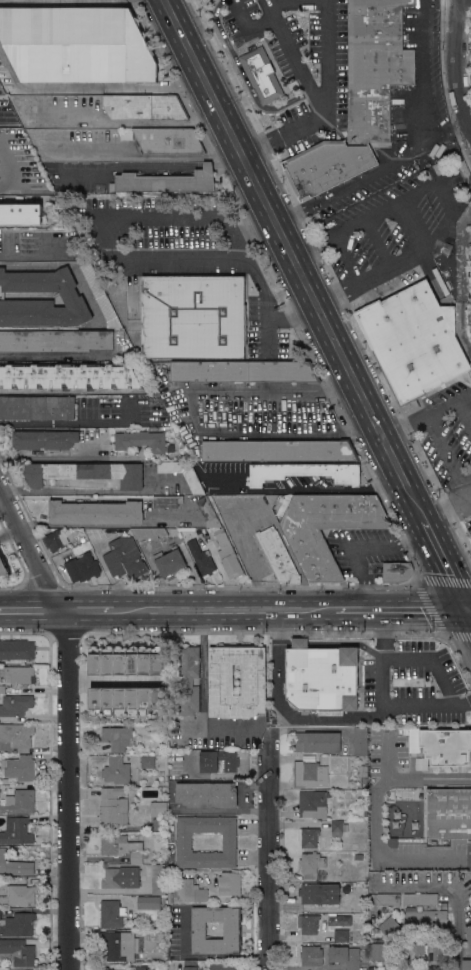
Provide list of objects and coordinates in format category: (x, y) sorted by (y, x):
road: (249, 27)
building: (76, 45)
road: (327, 55)
building: (375, 66)
road: (454, 68)
building: (261, 75)
road: (320, 97)
building: (143, 107)
building: (31, 112)
road: (136, 122)
building: (126, 135)
building: (168, 141)
road: (413, 151)
road: (6, 166)
building: (325, 166)
building: (165, 182)
road: (5, 191)
road: (6, 198)
building: (20, 214)
road: (251, 222)
road: (421, 222)
road: (231, 233)
road: (99, 239)
building: (470, 240)
road: (295, 258)
road: (177, 259)
building: (470, 261)
road: (67, 263)
road: (463, 281)
building: (69, 295)
building: (101, 296)
building: (193, 317)
building: (470, 320)
building: (55, 340)
building: (413, 341)
road: (47, 354)
building: (243, 371)
building: (68, 376)
building: (37, 407)
road: (190, 417)
road: (70, 422)
road: (404, 427)
road: (432, 436)
building: (44, 439)
building: (143, 441)
building: (278, 451)
road: (42, 456)
building: (305, 472)
building: (84, 473)
building: (194, 484)
road: (468, 489)
road: (91, 490)
road: (314, 490)
building: (167, 501)
road: (447, 507)
building: (95, 512)
building: (208, 512)
road: (89, 525)
building: (323, 526)
building: (148, 533)
building: (89, 534)
building: (55, 540)
road: (241, 544)
road: (357, 545)
road: (30, 550)
building: (227, 555)
building: (278, 556)
building: (124, 558)
building: (201, 558)
building: (88, 562)
building: (170, 562)
road: (445, 563)
building: (3, 566)
building: (396, 571)
road: (111, 577)
road: (400, 609)
traffic signals: (467, 609)
road: (469, 609)
road: (223, 610)
road: (31, 612)
road: (88, 612)
road: (469, 612)
building: (17, 649)
building: (121, 660)
building: (134, 660)
building: (145, 660)
building: (158, 660)
road: (430, 660)
building: (96, 661)
building: (109, 661)
building: (19, 674)
building: (321, 677)
road: (202, 678)
building: (221, 679)
building: (189, 681)
building: (2, 689)
building: (96, 701)
building: (109, 701)
building: (121, 701)
building: (134, 701)
building: (145, 701)
building: (158, 701)
road: (382, 701)
building: (15, 705)
road: (287, 711)
building: (162, 728)
building: (17, 735)
building: (117, 738)
building: (360, 741)
building: (317, 742)
building: (446, 746)
building: (147, 761)
building: (219, 766)
building: (21, 768)
building: (116, 770)
building: (363, 771)
building: (188, 774)
building: (309, 775)
building: (364, 783)
road: (65, 790)
building: (207, 795)
building: (19, 802)
building: (312, 804)
building: (113, 806)
building: (158, 808)
building: (448, 813)
road: (376, 818)
building: (338, 828)
building: (16, 831)
building: (309, 837)
building: (183, 842)
building: (122, 847)
building: (358, 856)
road: (267, 862)
building: (311, 864)
building: (14, 865)
building: (118, 877)
building: (157, 878)
building: (229, 883)
building: (189, 891)
building: (319, 893)
building: (19, 895)
road: (452, 895)
building: (388, 899)
building: (420, 899)
building: (148, 902)
building: (164, 905)
building: (112, 913)
building: (425, 918)
building: (339, 919)
building: (308, 924)
building: (18, 925)
building: (389, 926)
building: (232, 931)
building: (341, 935)
building: (469, 935)
building: (161, 937)
building: (121, 945)
building: (17, 952)
building: (379, 952)
building: (417, 952)
building: (311, 956)
building: (345, 956)
building: (466, 964)
building: (190, 965)
building: (223, 966)
building: (105, 968)
building: (138, 968)

